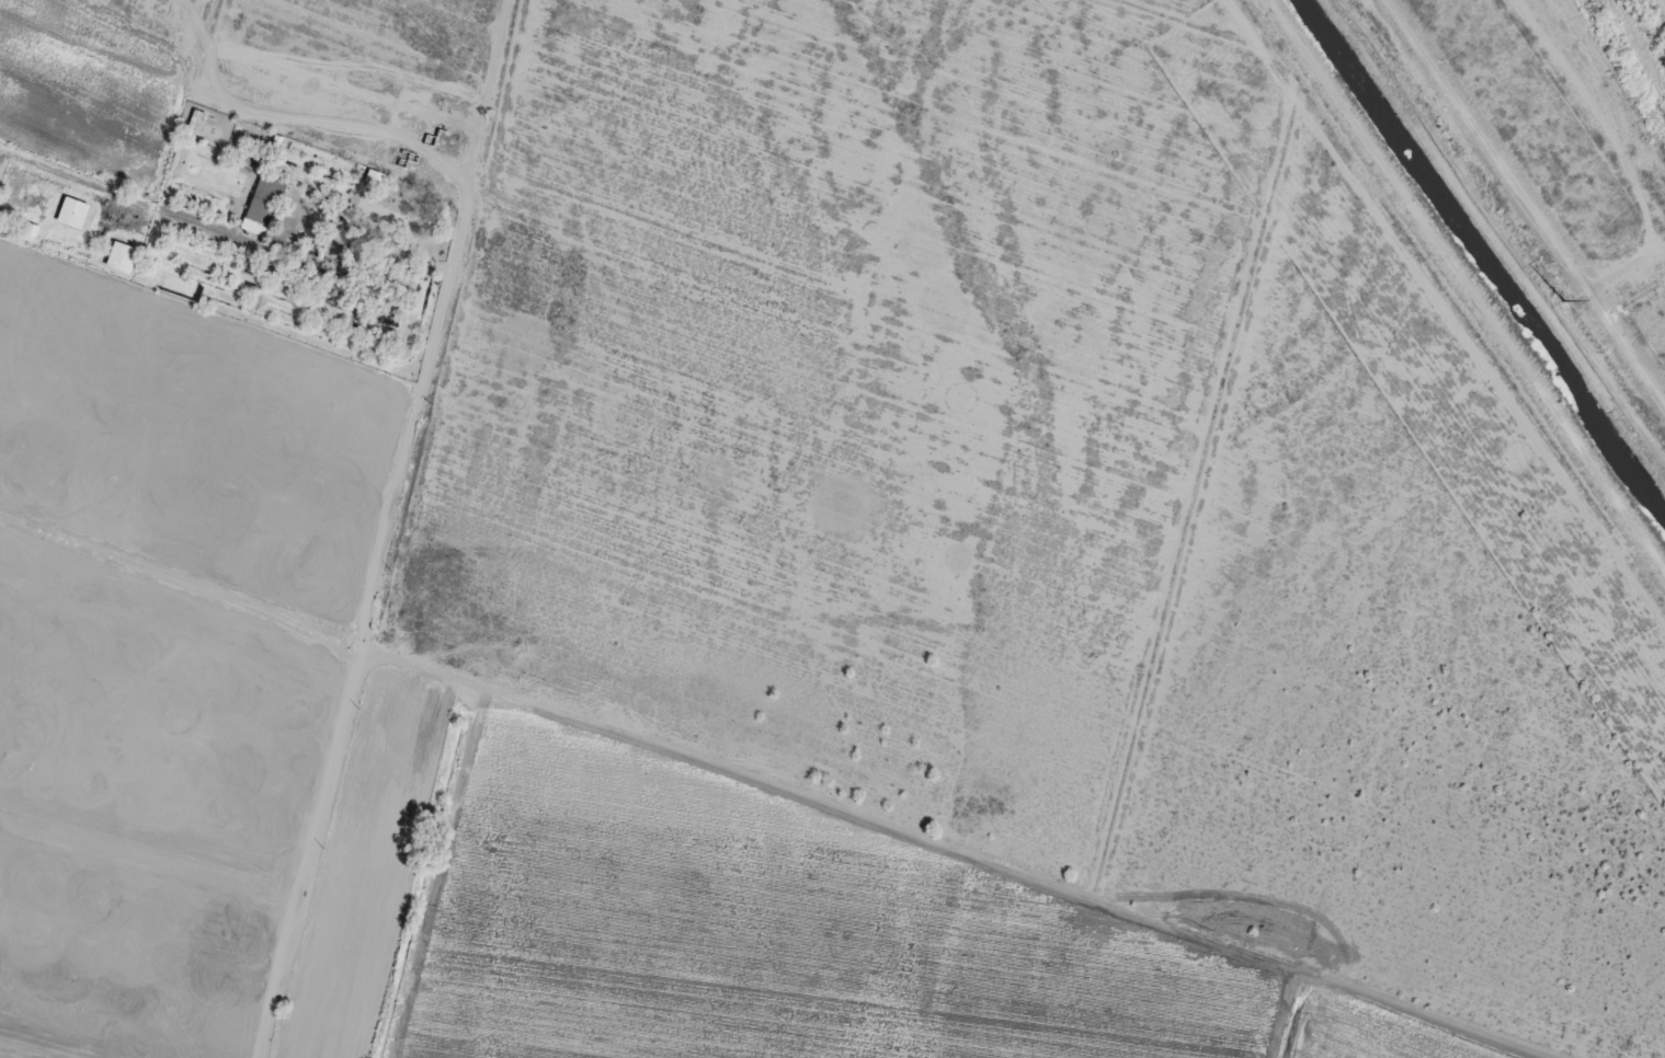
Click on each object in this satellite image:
river: (1640, 46)
road: (318, 125)
road: (1524, 202)
road: (1460, 292)
power tower: (1556, 301)
road: (361, 648)

